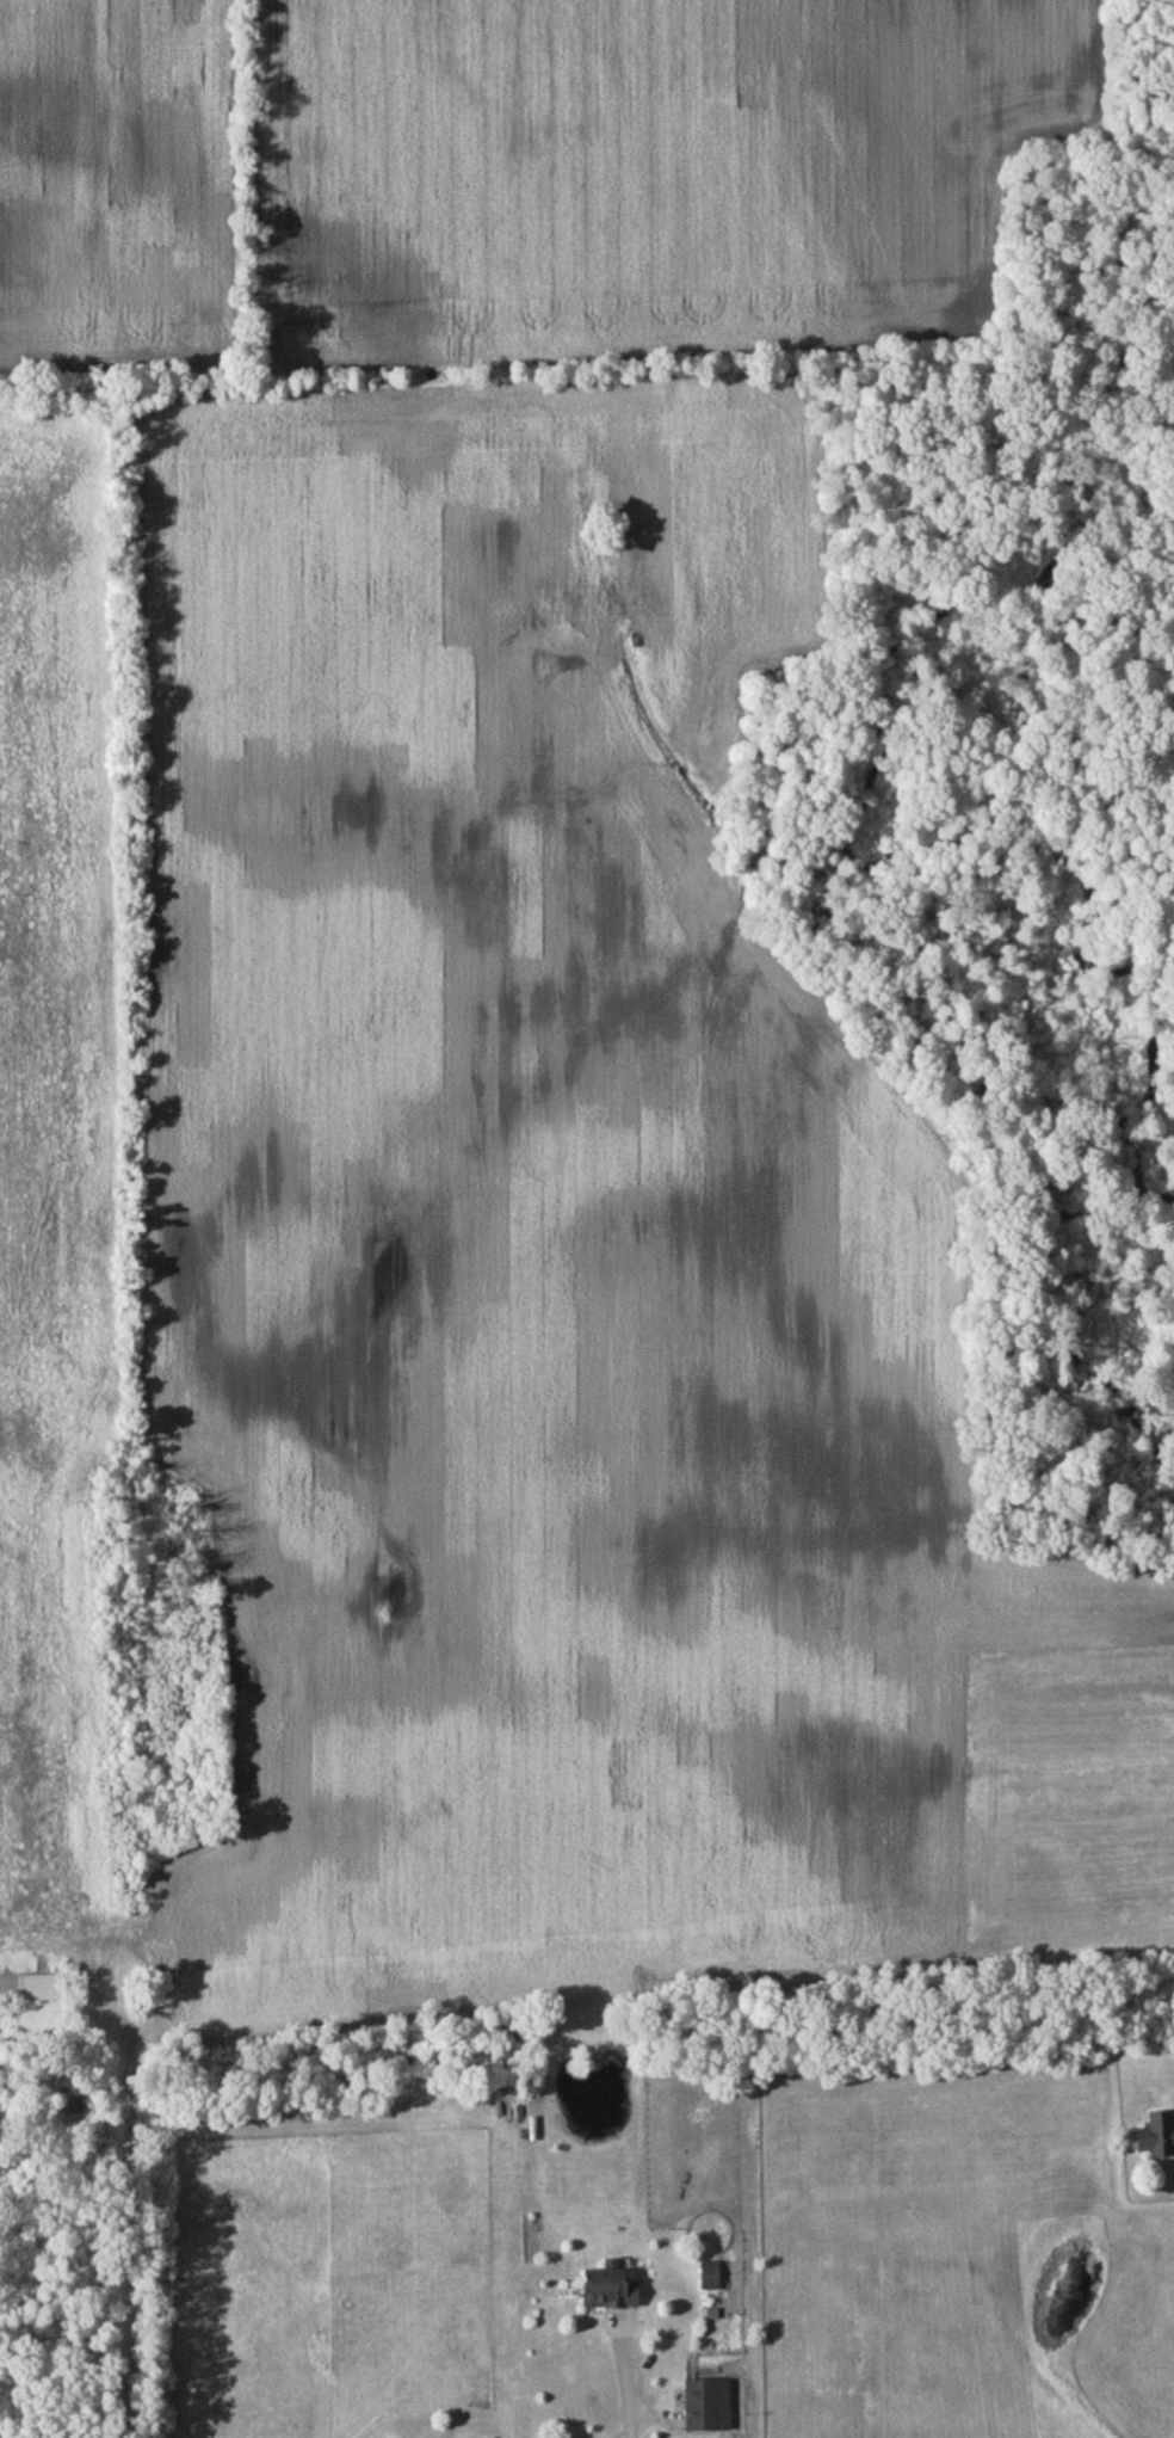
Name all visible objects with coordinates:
building: (35, 1994)
building: (1156, 2141)
building: (612, 2295)
road: (624, 2383)
building: (710, 2411)

